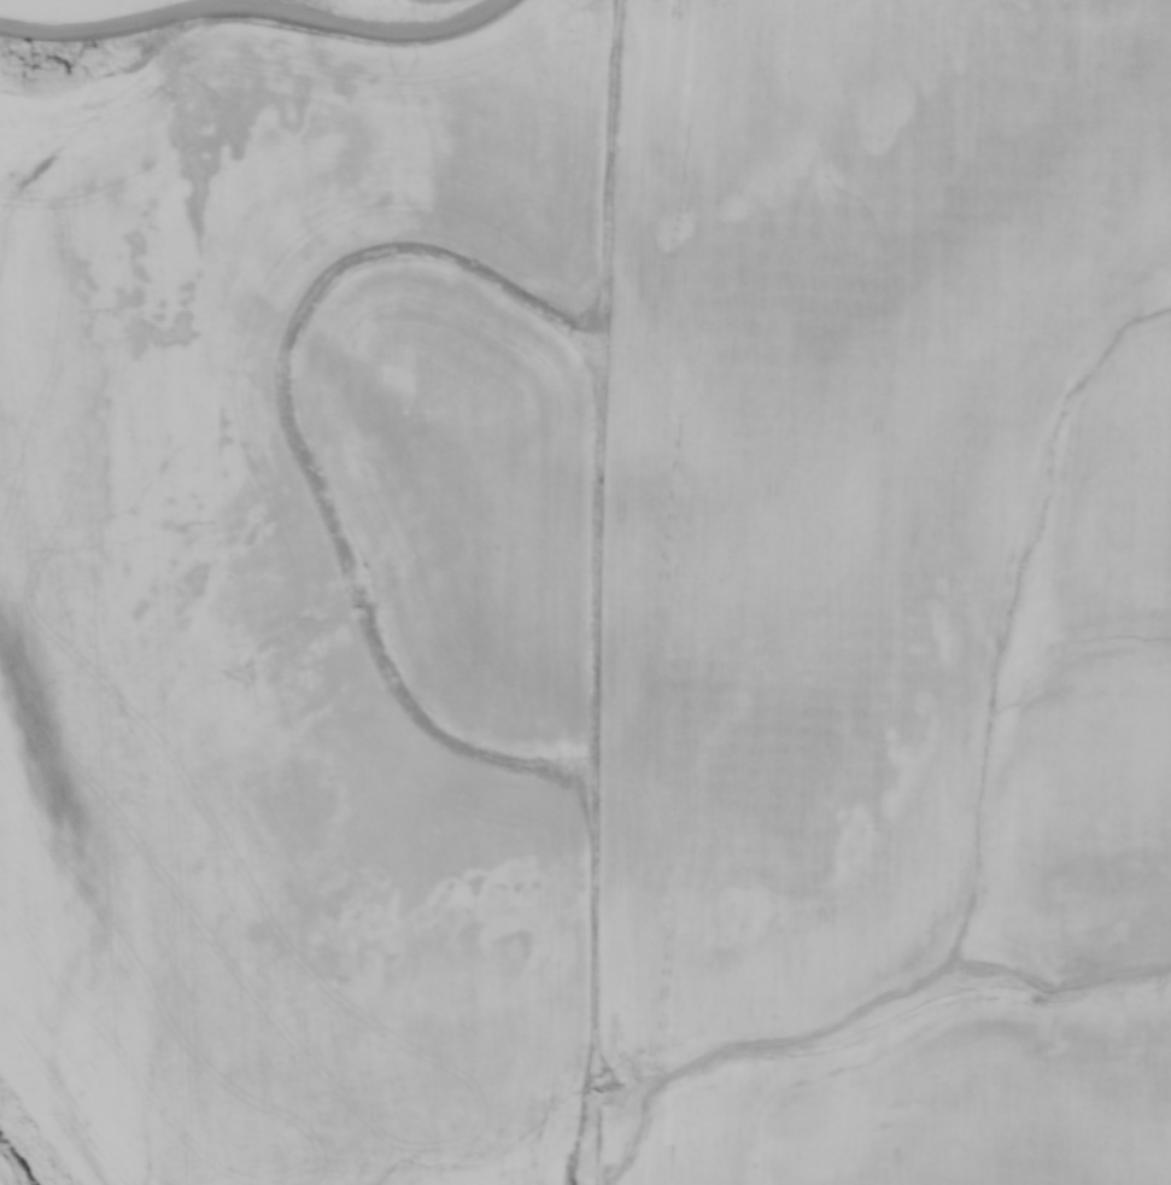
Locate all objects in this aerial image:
road: (259, 2)

